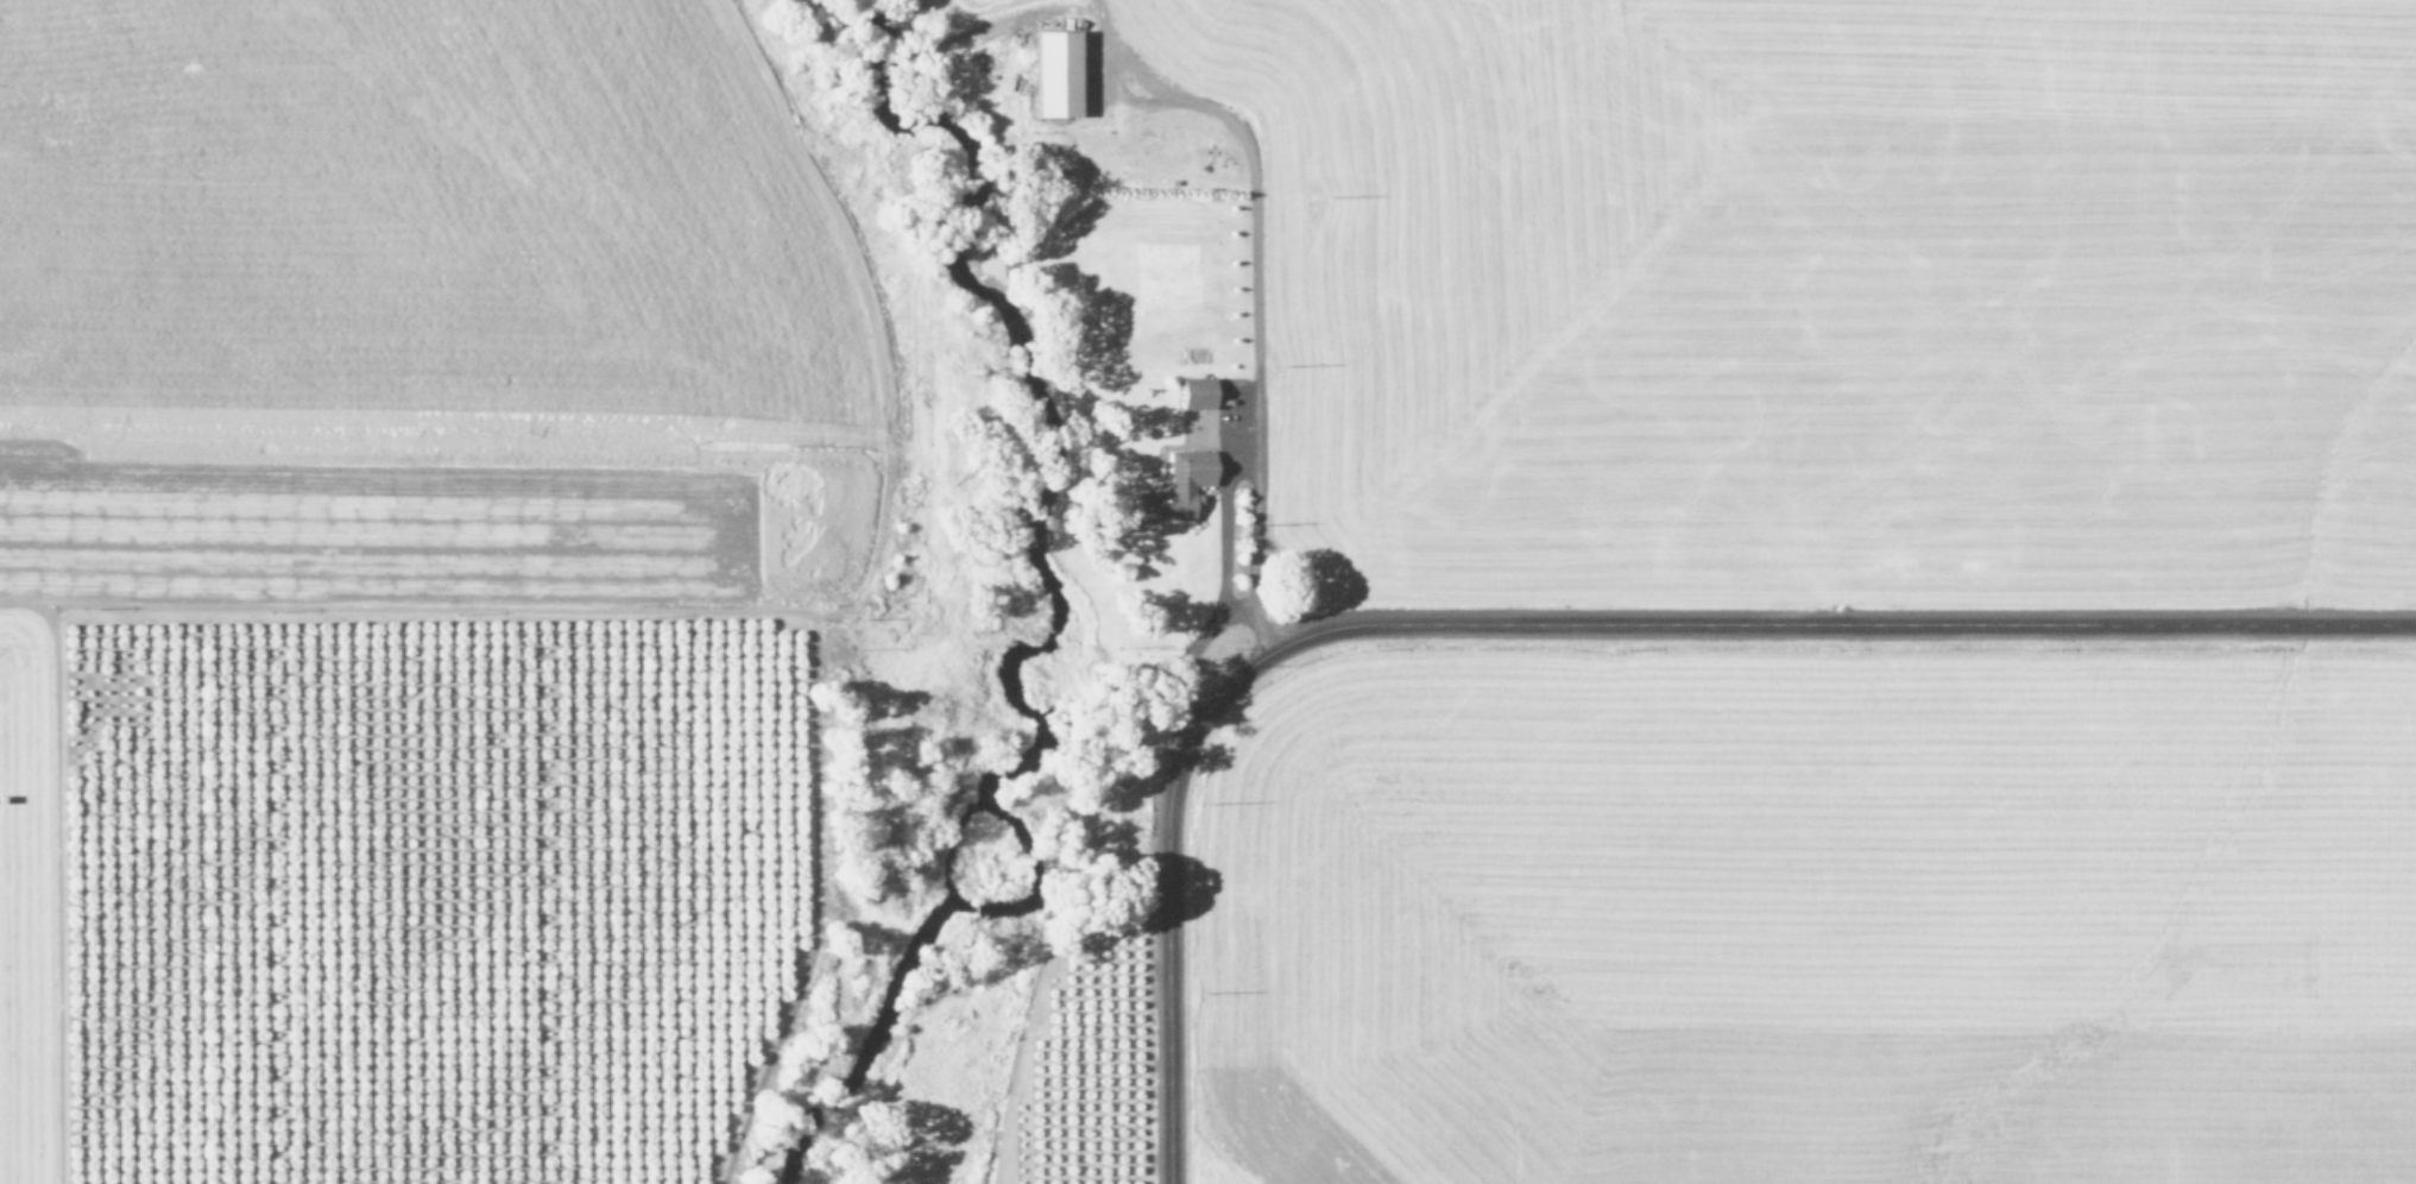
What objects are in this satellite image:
building: (1054, 74)
building: (1196, 393)
road: (1236, 467)
building: (1175, 489)
crop: (1778, 600)
road: (1566, 637)
road: (1196, 641)

